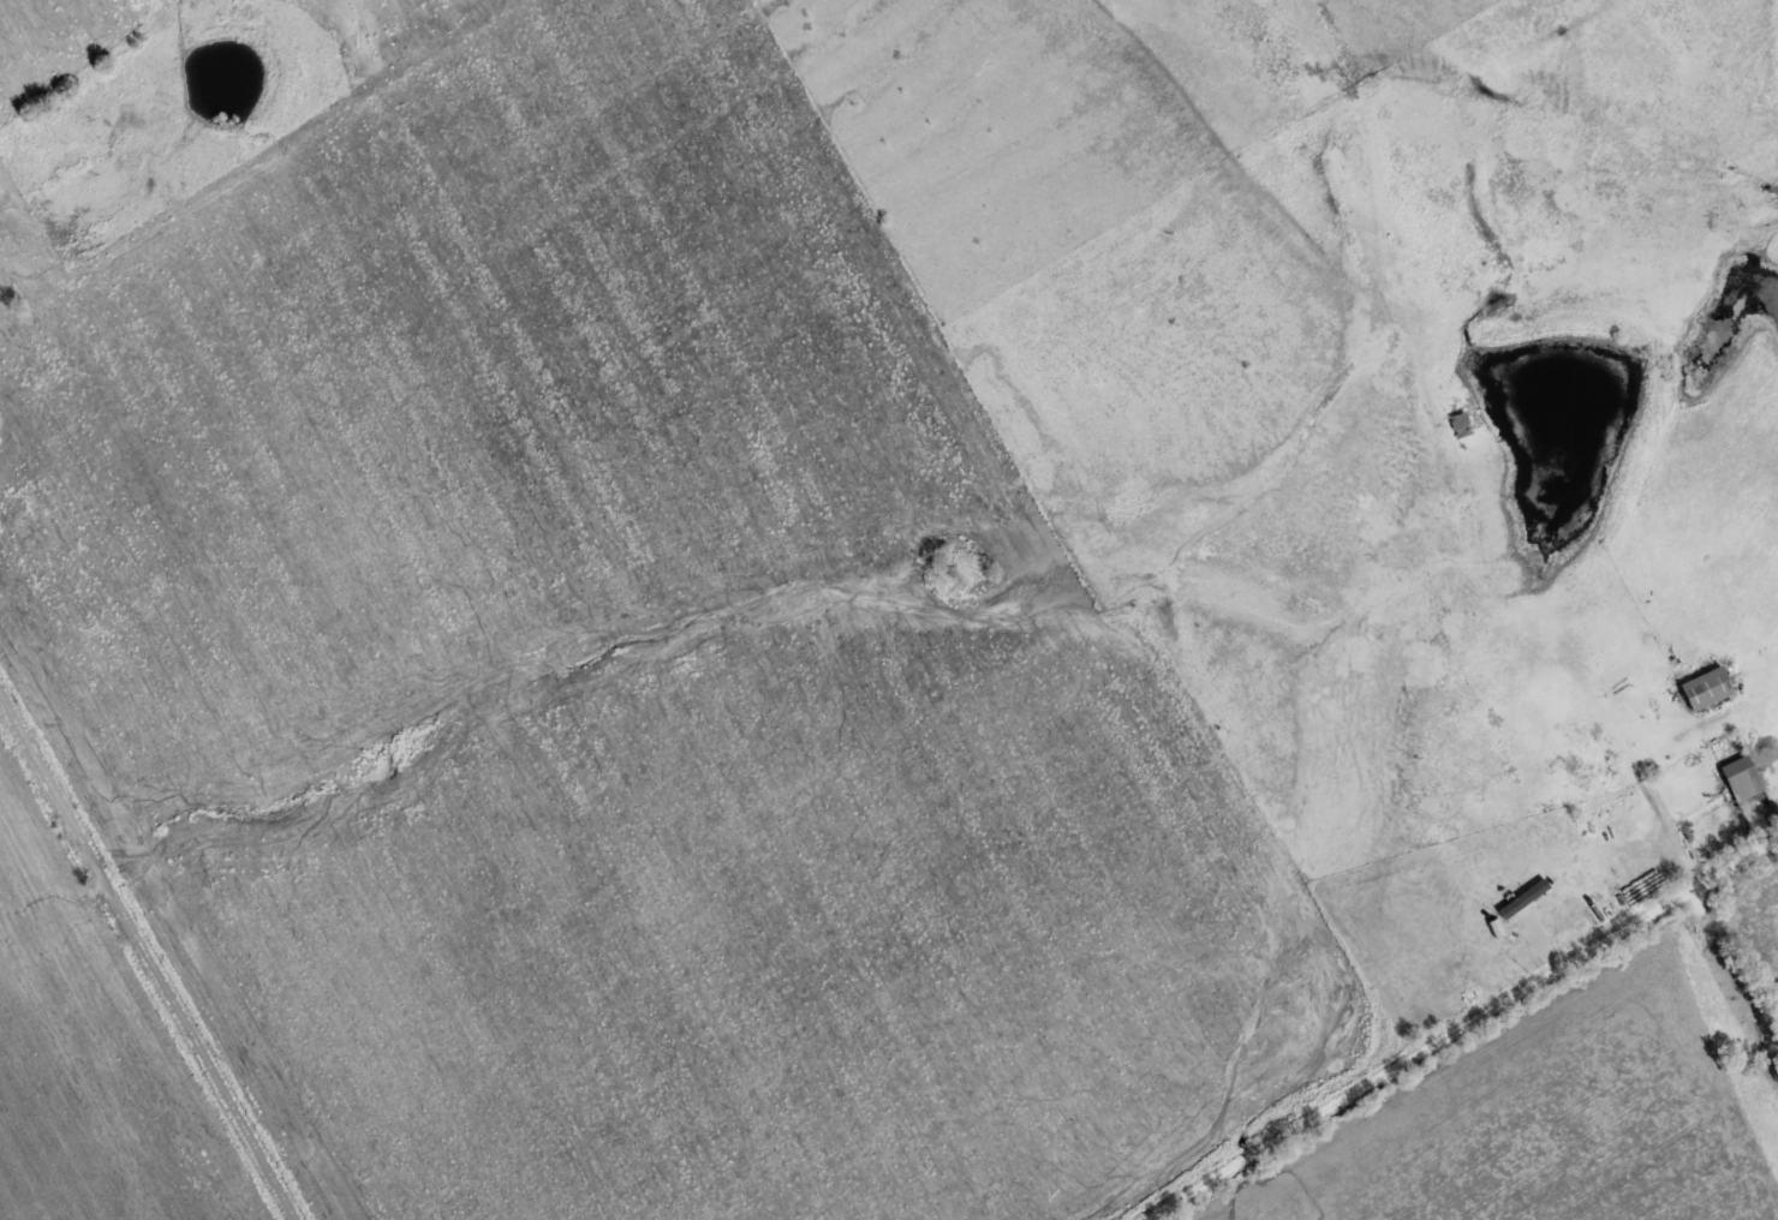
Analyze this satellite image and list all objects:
building: (1457, 421)
building: (1704, 687)
building: (1740, 777)
road: (1678, 809)
road: (153, 955)
road: (1468, 1033)

